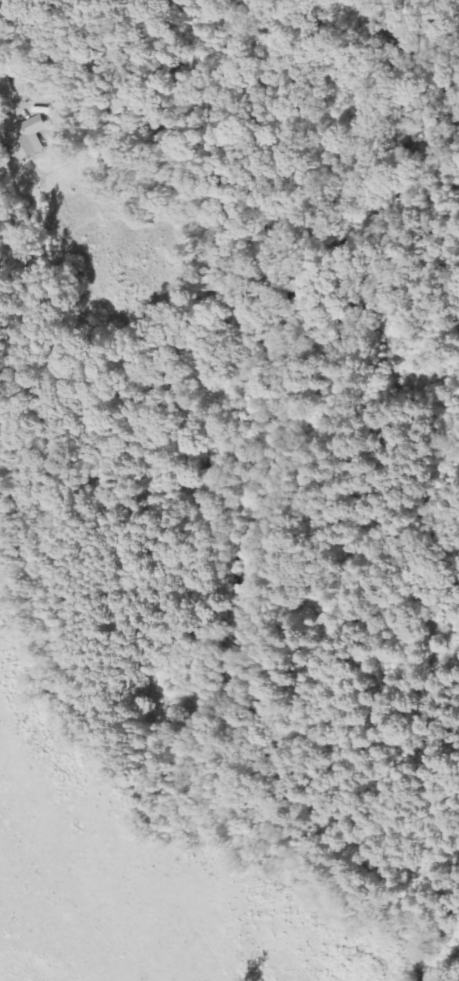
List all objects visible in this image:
road: (9, 74)
building: (60, 108)
building: (27, 138)

